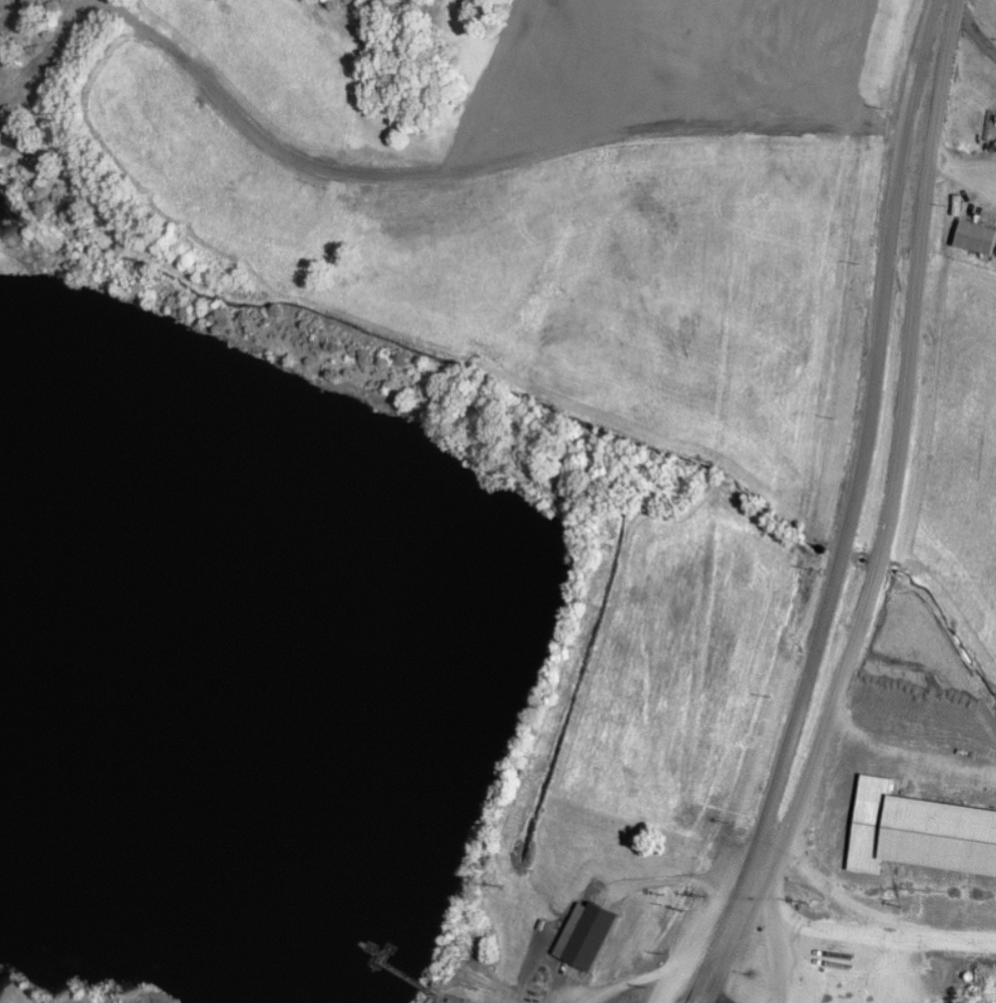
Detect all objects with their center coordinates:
road: (972, 35)
road: (930, 104)
building: (973, 239)
road: (847, 539)
road: (886, 547)
building: (581, 936)
road: (859, 940)

